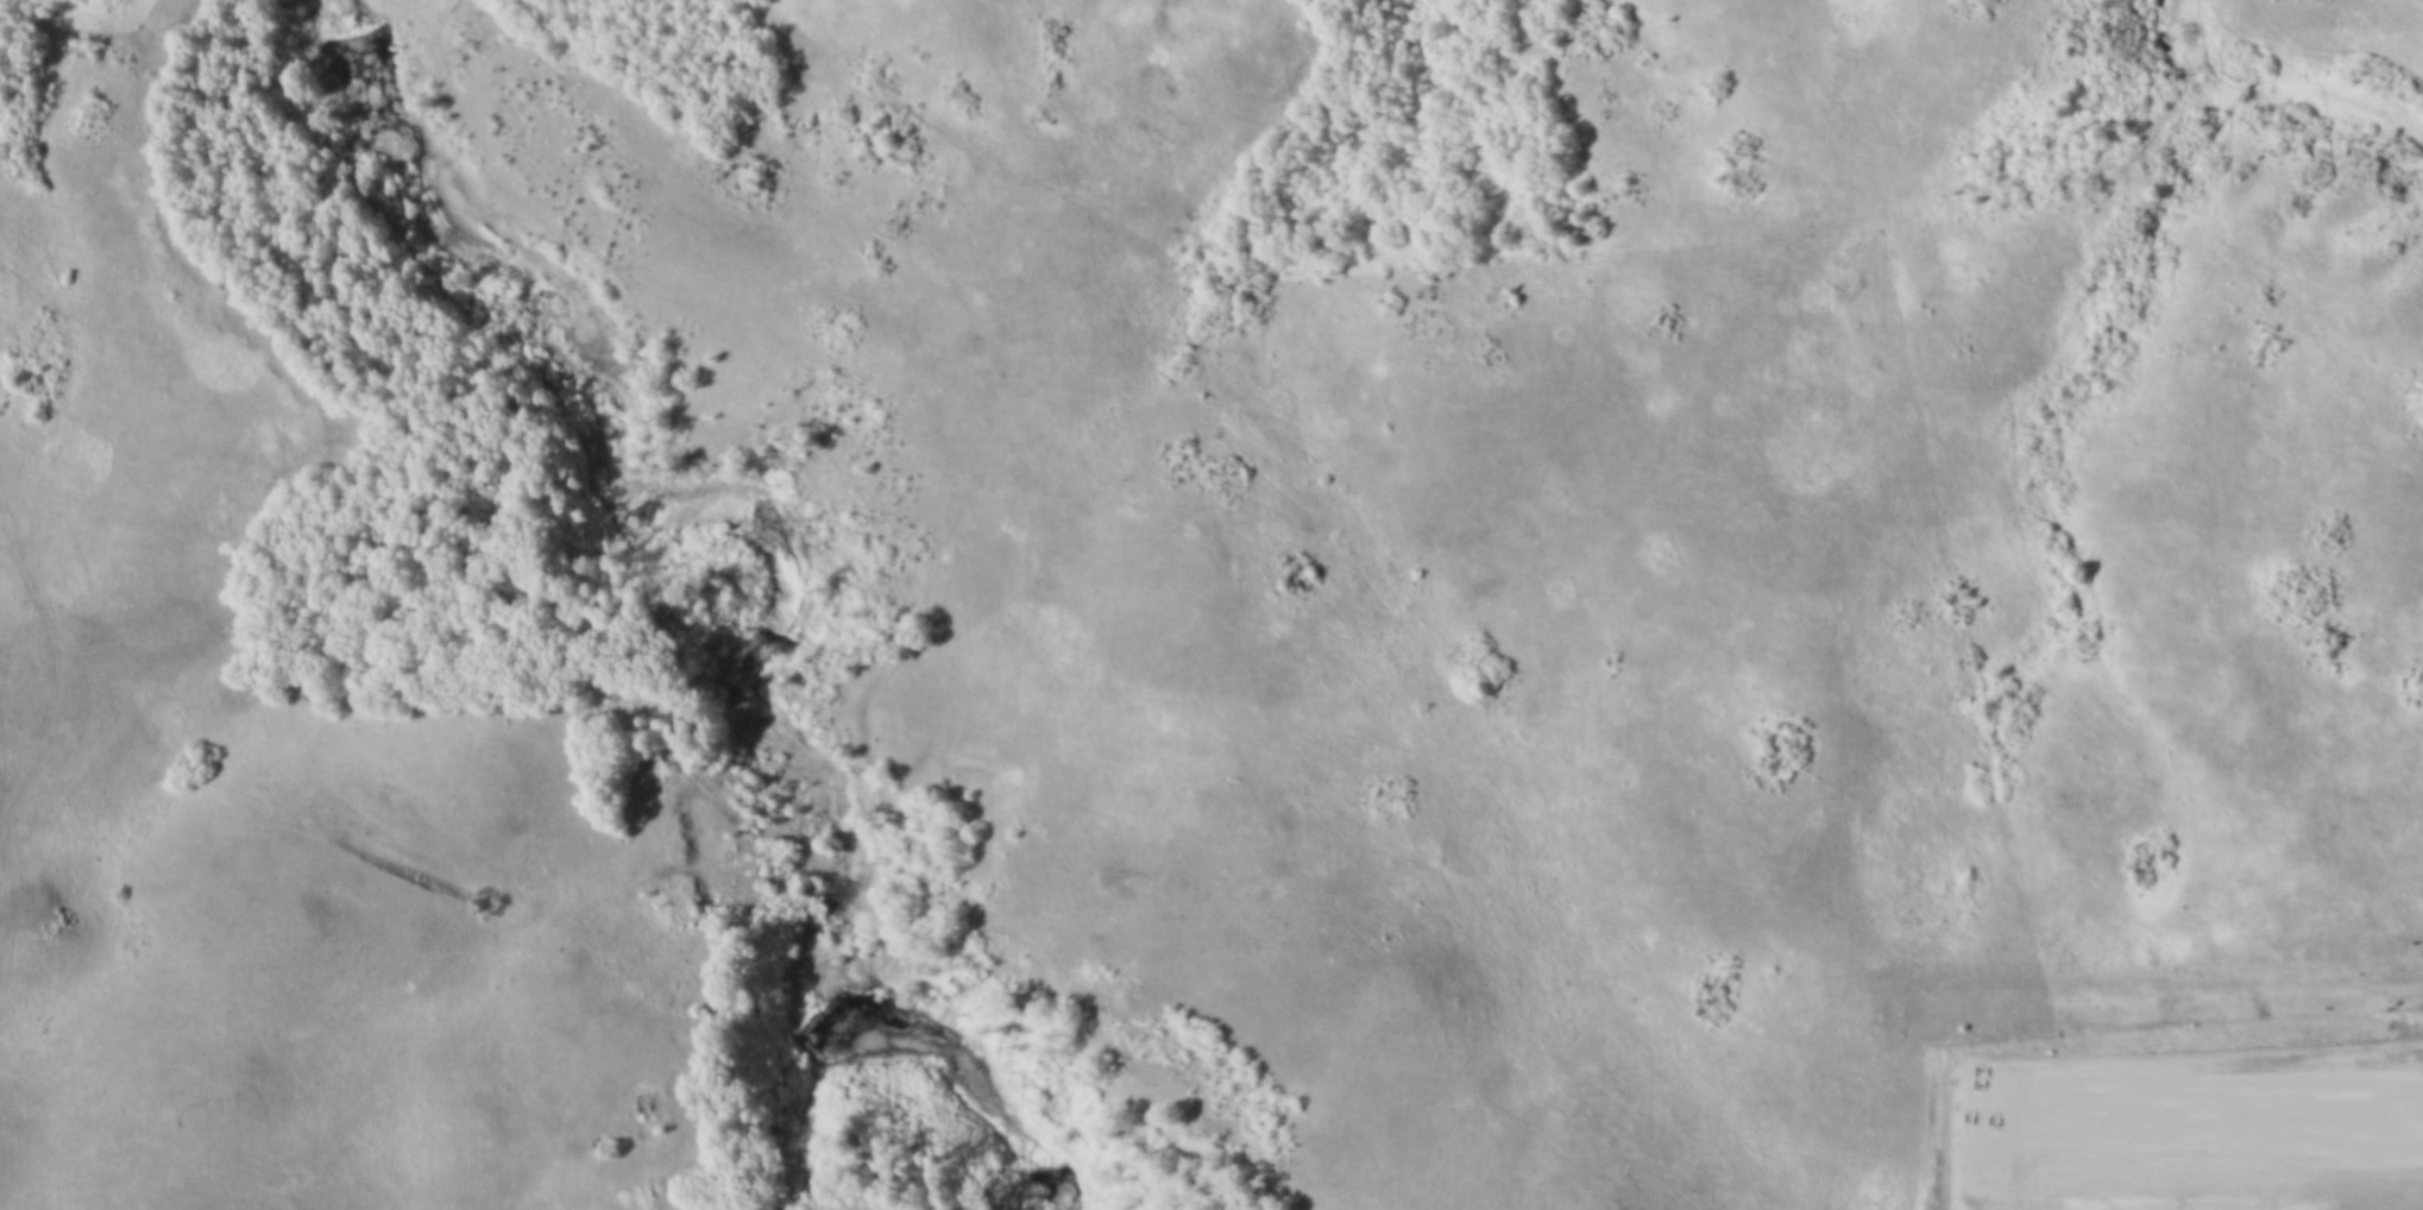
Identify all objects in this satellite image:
building: (1990, 1137)
storage tank: (1990, 1137)
building: (1976, 1139)
storage tank: (1976, 1139)
building: (2014, 1141)
storage tank: (2014, 1141)
road: (2211, 1147)
building: (1974, 1151)
storage tank: (1974, 1151)
building: (1989, 1153)
storage tank: (1989, 1153)
building: (2013, 1154)
storage tank: (2013, 1154)
building: (1972, 1165)
storage tank: (1972, 1165)
building: (1989, 1166)
storage tank: (1989, 1166)
building: (2013, 1168)
storage tank: (2013, 1168)
building: (1971, 1179)
storage tank: (1971, 1179)
building: (1988, 1179)
storage tank: (1988, 1179)
building: (2012, 1181)
storage tank: (2012, 1181)
building: (1970, 1192)
storage tank: (1970, 1192)
building: (1985, 1193)
storage tank: (1985, 1193)
building: (2010, 1196)
storage tank: (2010, 1196)

